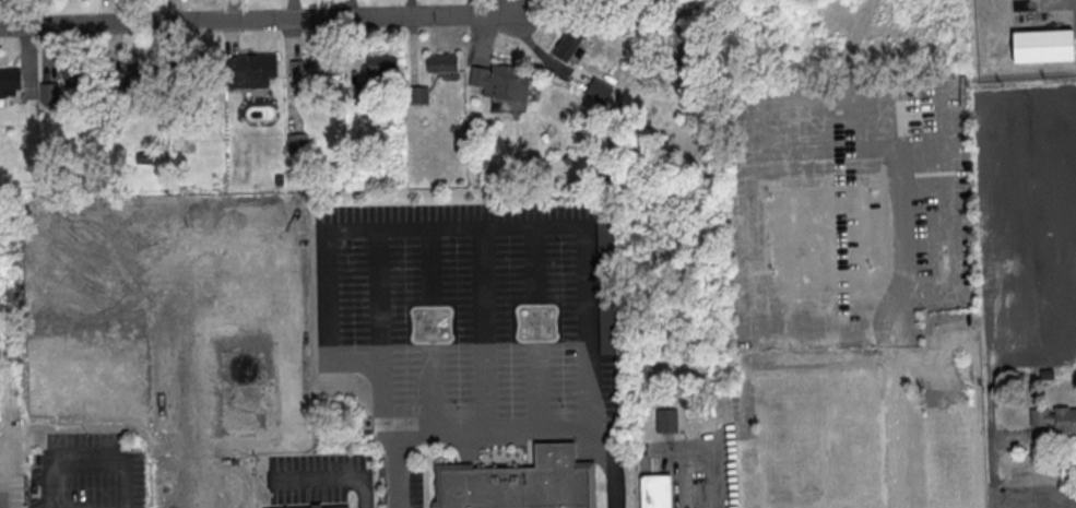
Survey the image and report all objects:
building: (576, 4)
road: (260, 20)
building: (569, 44)
building: (442, 62)
building: (314, 67)
building: (385, 69)
building: (140, 70)
building: (251, 70)
building: (78, 71)
building: (10, 78)
building: (501, 82)
building: (49, 93)
building: (363, 96)
building: (419, 96)
building: (297, 143)
road: (391, 225)
road: (583, 274)
parking lot: (464, 326)
building: (1055, 420)
building: (667, 421)
road: (500, 433)
road: (712, 477)
building: (521, 482)
building: (659, 492)
road: (3, 504)
building: (317, 506)
building: (341, 507)

